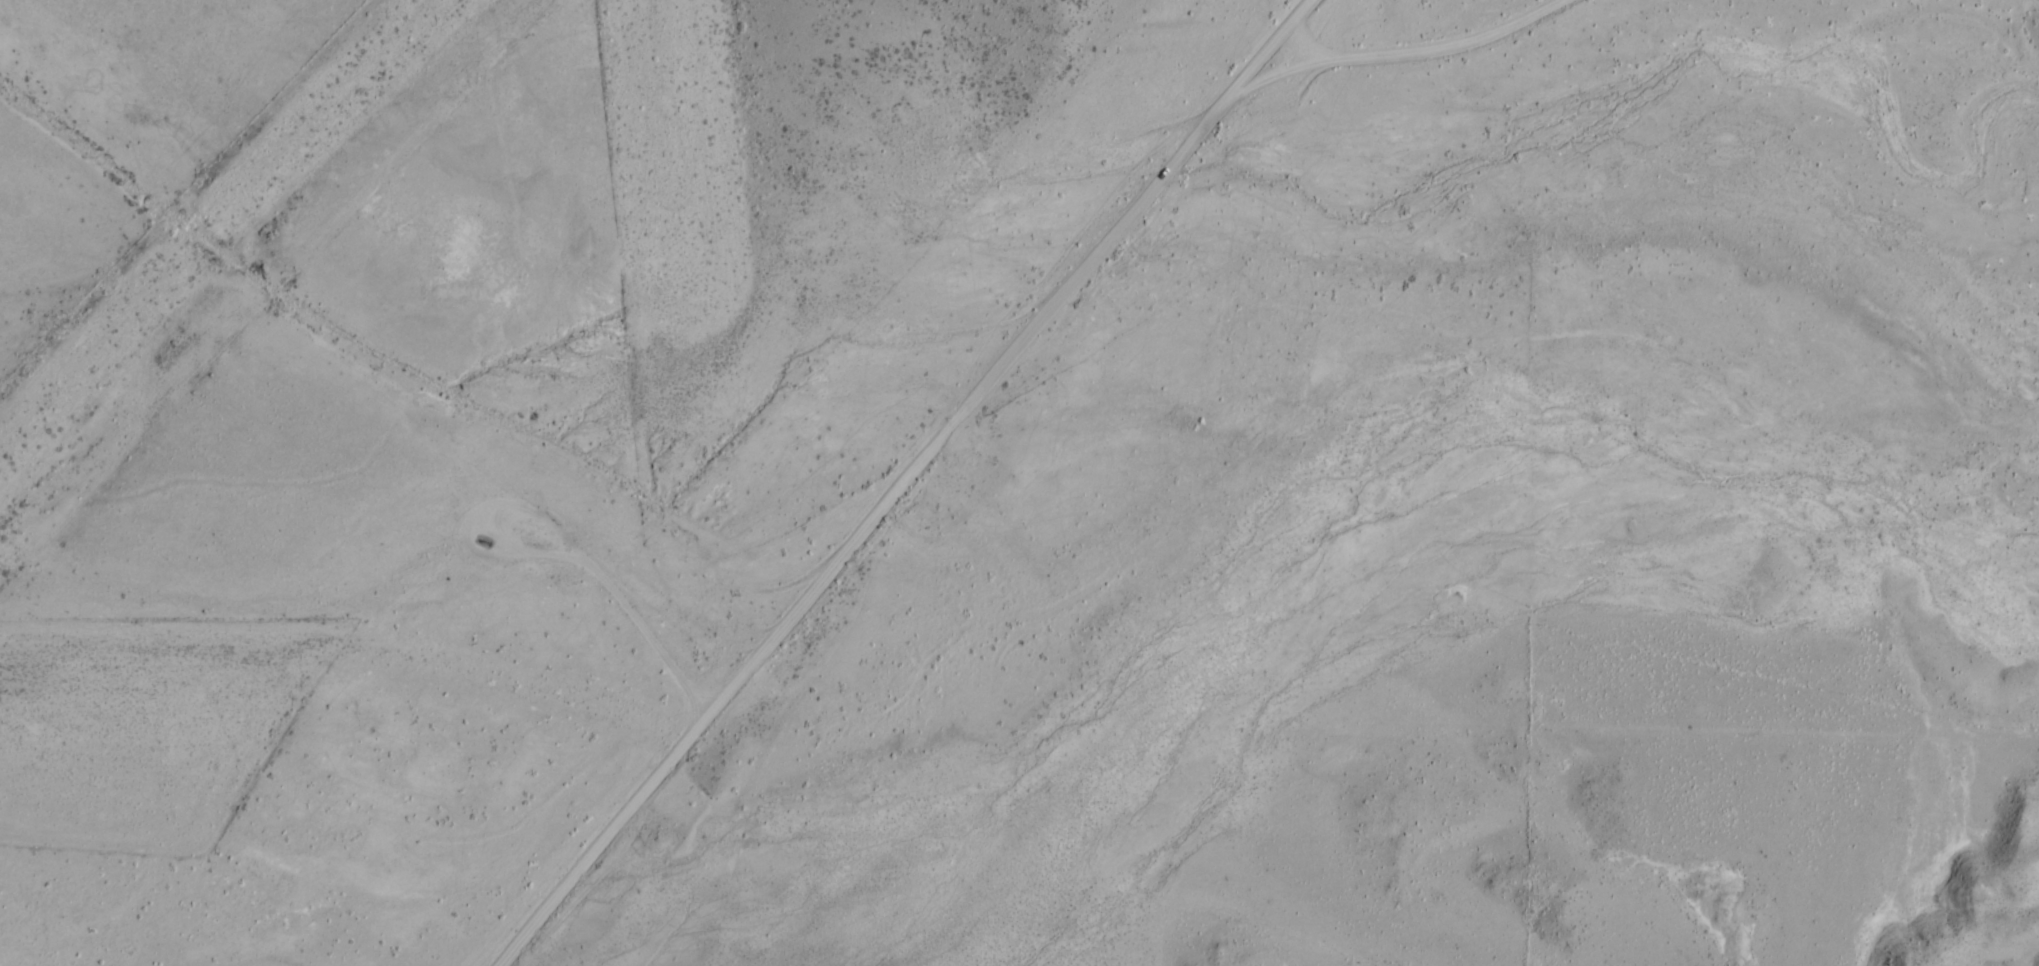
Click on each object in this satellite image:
road: (1311, 36)
road: (1389, 49)
road: (901, 480)

